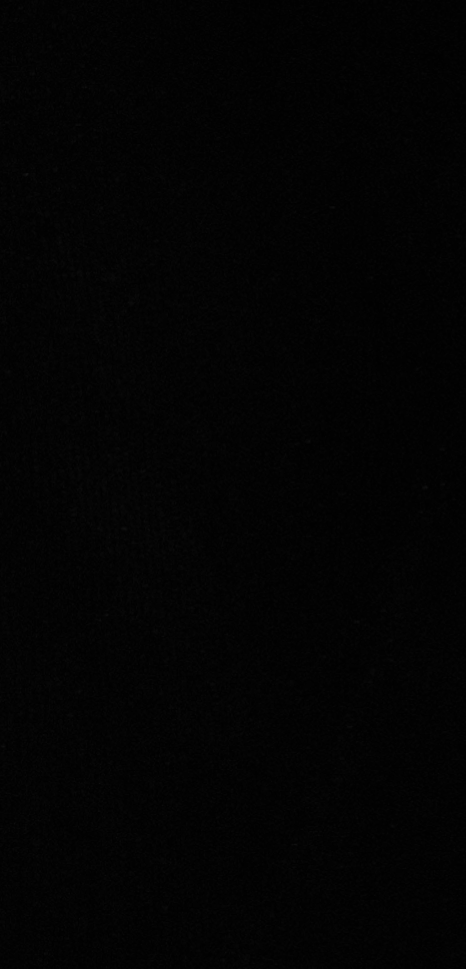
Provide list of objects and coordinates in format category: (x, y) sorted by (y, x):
river: (124, 666)

